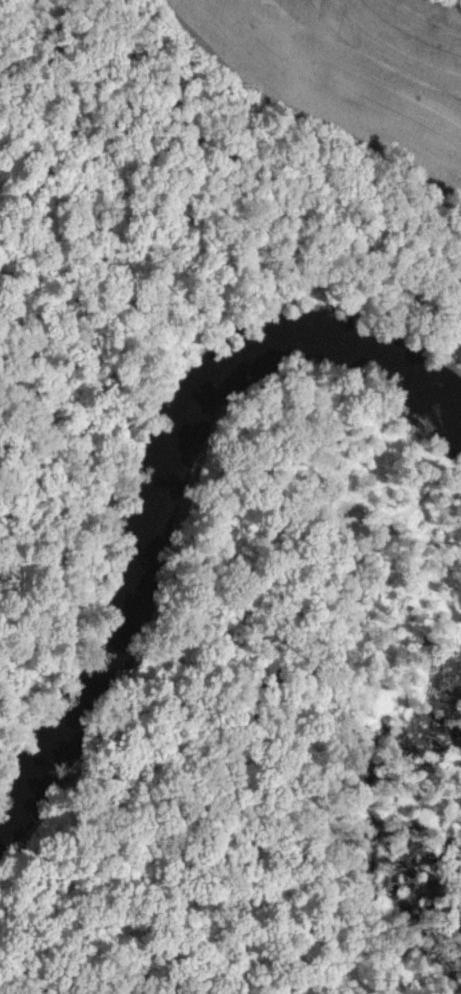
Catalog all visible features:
river: (188, 474)

